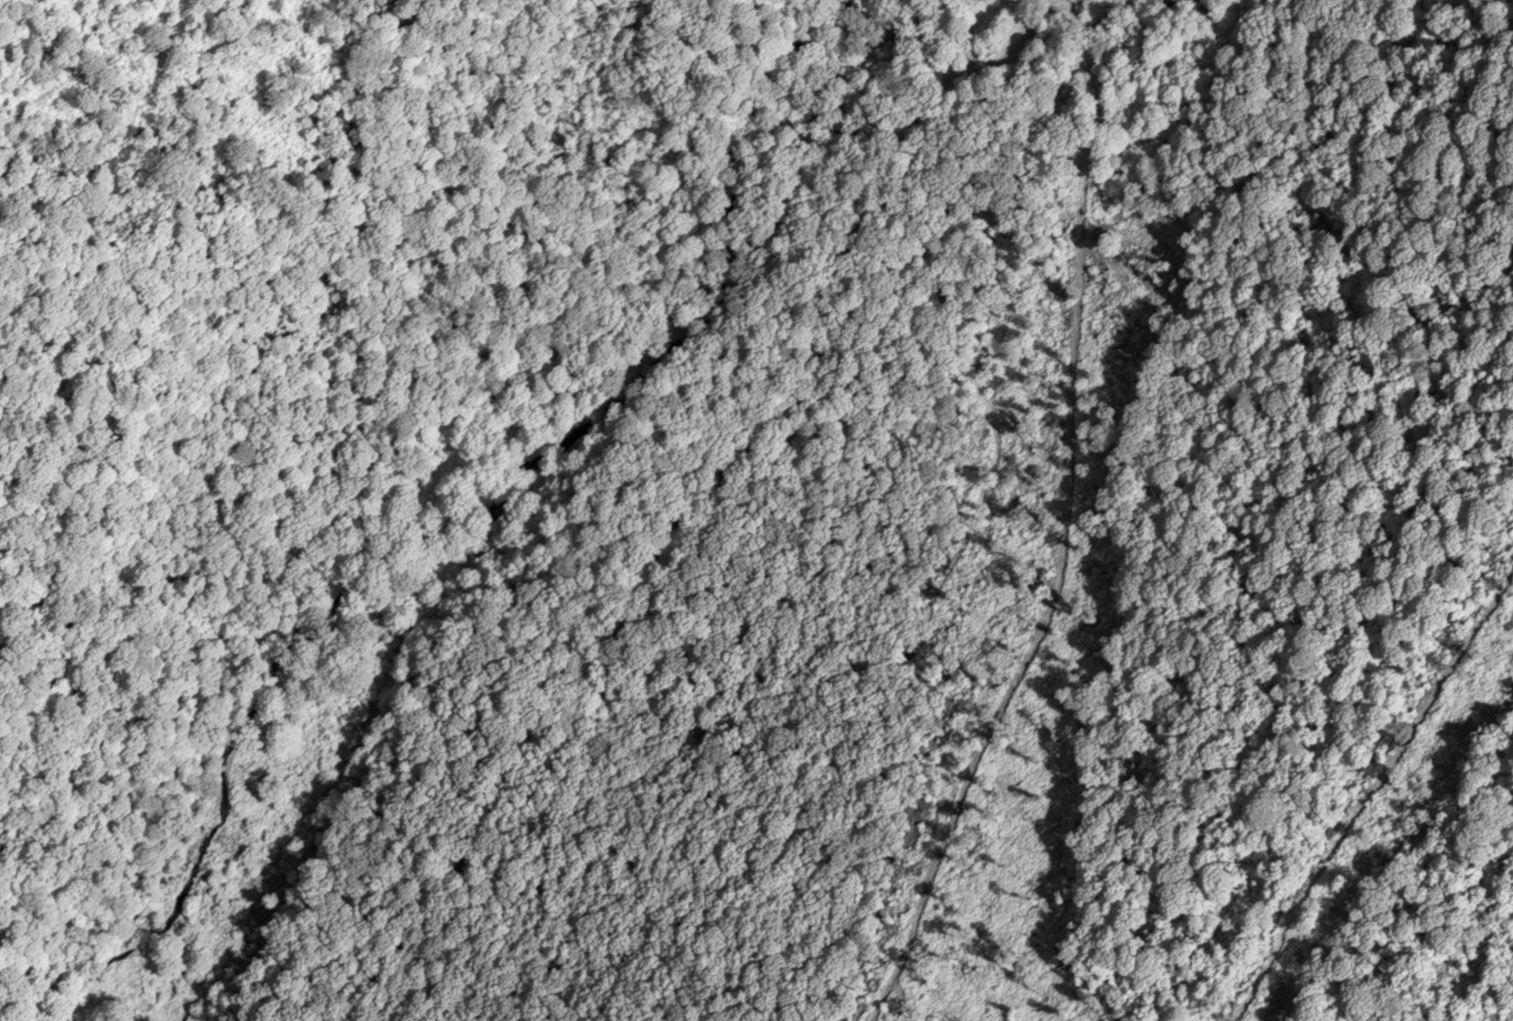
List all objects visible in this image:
road: (479, 834)

